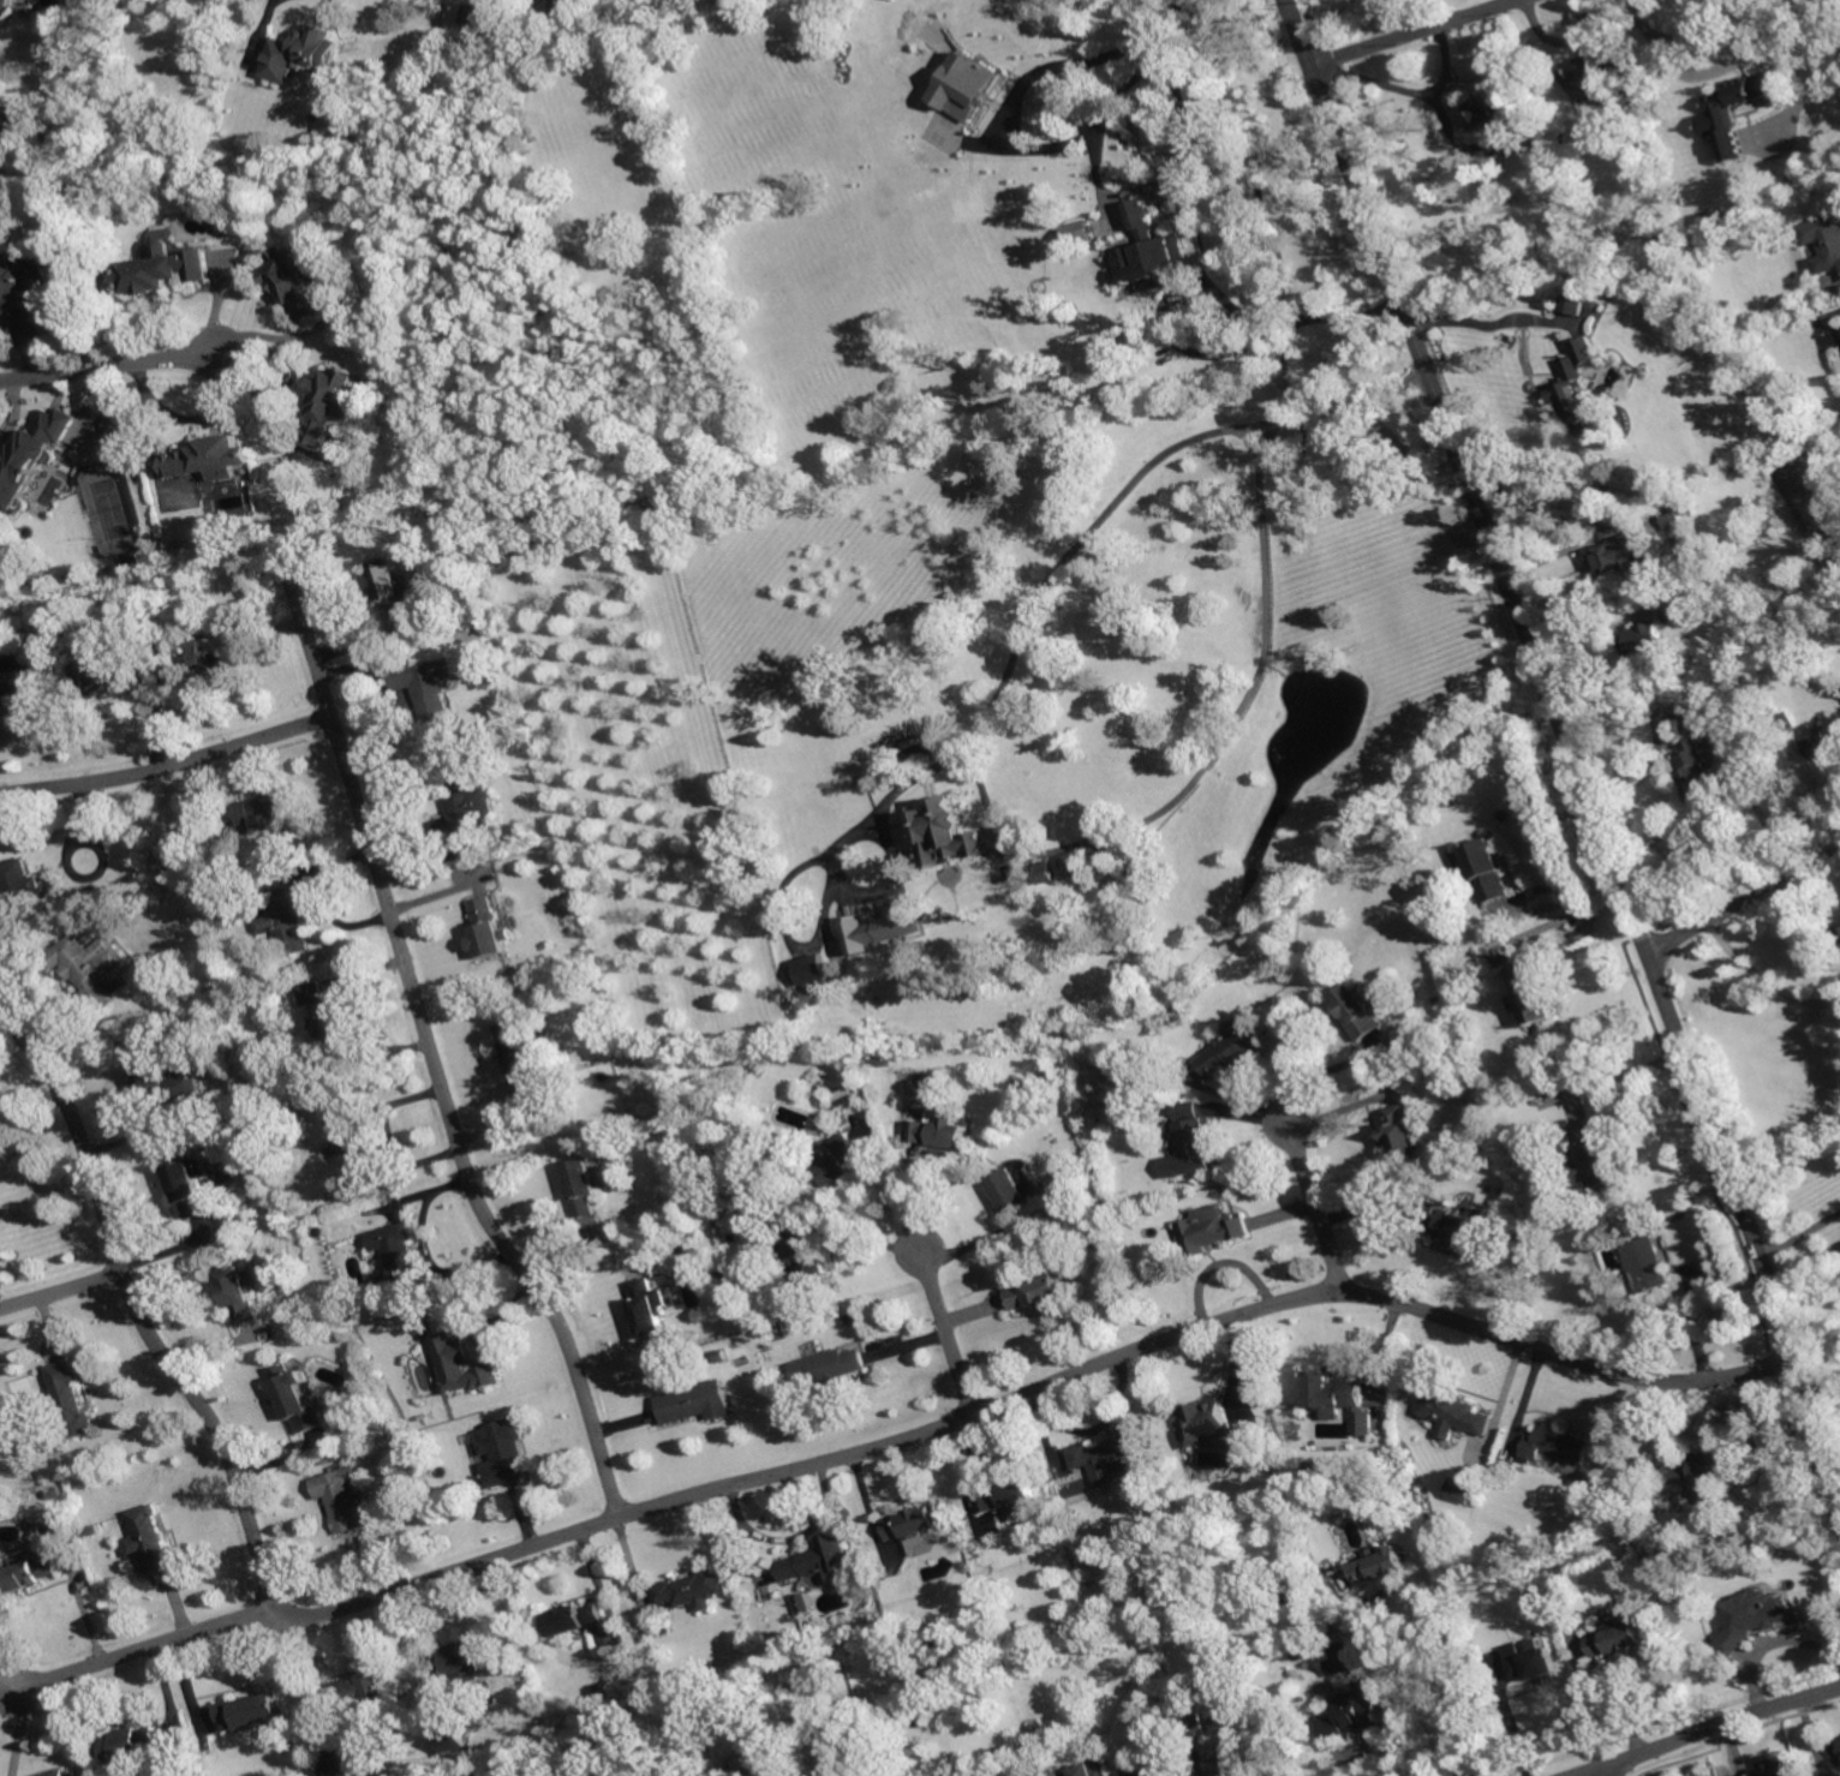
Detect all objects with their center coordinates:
building: (6, 2)
building: (572, 8)
building: (485, 18)
road: (1415, 31)
building: (306, 53)
road: (1669, 56)
building: (1585, 76)
building: (967, 85)
road: (1181, 86)
road: (1422, 90)
building: (1749, 90)
road: (1803, 97)
building: (1497, 110)
building: (1626, 110)
building: (5, 126)
road: (1010, 130)
building: (1731, 144)
building: (0, 159)
building: (193, 207)
building: (1717, 217)
building: (1081, 232)
building: (1824, 238)
building: (1161, 249)
building: (165, 269)
building: (298, 281)
road: (1211, 292)
building: (19, 293)
building: (1572, 303)
building: (1656, 312)
road: (1493, 322)
road: (112, 365)
building: (1578, 388)
building: (333, 403)
building: (32, 455)
building: (213, 458)
building: (1672, 518)
road: (1079, 544)
building: (1619, 554)
building: (1830, 558)
building: (389, 587)
building: (1693, 596)
building: (1642, 638)
road: (1267, 644)
building: (213, 651)
building: (16, 678)
building: (108, 678)
building: (428, 686)
building: (1786, 720)
road: (1567, 734)
building: (1823, 743)
building: (1691, 763)
road: (168, 764)
building: (462, 805)
building: (264, 818)
building: (949, 827)
building: (1075, 863)
building: (1106, 863)
building: (1488, 871)
building: (1050, 872)
building: (23, 889)
road: (1744, 899)
building: (287, 917)
road: (1565, 917)
building: (1839, 926)
building: (489, 928)
building: (873, 932)
building: (1839, 935)
building: (89, 965)
building: (812, 975)
road: (1766, 976)
building: (1531, 993)
building: (1361, 1010)
building: (329, 1027)
building: (1238, 1046)
building: (521, 1056)
road: (434, 1057)
road: (1325, 1072)
road: (1630, 1072)
building: (165, 1075)
building: (846, 1098)
building: (942, 1129)
building: (1402, 1132)
building: (1191, 1143)
building: (372, 1152)
building: (1594, 1154)
building: (841, 1160)
building: (189, 1185)
building: (583, 1186)
building: (1008, 1191)
road: (1319, 1207)
building: (1462, 1228)
building: (1212, 1231)
road: (1800, 1231)
building: (1105, 1237)
building: (396, 1256)
building: (1647, 1262)
building: (813, 1263)
building: (685, 1273)
road: (62, 1290)
building: (1038, 1292)
building: (239, 1293)
building: (650, 1308)
road: (139, 1311)
road: (950, 1332)
building: (782, 1333)
building: (723, 1357)
building: (461, 1365)
building: (830, 1368)
road: (1038, 1391)
building: (1334, 1393)
building: (71, 1399)
building: (297, 1399)
building: (698, 1403)
building: (1452, 1413)
building: (1206, 1421)
building: (1363, 1423)
building: (1557, 1443)
building: (504, 1452)
building: (1112, 1457)
building: (1696, 1476)
building: (1459, 1488)
building: (339, 1496)
building: (1008, 1496)
building: (46, 1521)
building: (915, 1523)
building: (151, 1538)
building: (820, 1560)
building: (1381, 1565)
building: (26, 1573)
building: (697, 1589)
road: (1388, 1590)
building: (1284, 1595)
building: (806, 1603)
building: (577, 1619)
building: (1749, 1619)
building: (1618, 1638)
road: (144, 1648)
building: (467, 1660)
building: (1340, 1661)
building: (1530, 1662)
building: (356, 1690)
road: (1438, 1698)
building: (247, 1711)
building: (1354, 1711)
building: (667, 1718)
building: (1194, 1726)
road: (1703, 1732)
building: (1038, 1733)
building: (452, 1739)
building: (129, 1744)
road: (1373, 1748)
building: (1836, 1751)
building: (1223, 1762)
building: (342, 1766)
building: (1089, 1769)
building: (1770, 1769)
building: (456, 1770)
building: (1160, 1770)
road: (1602, 1770)
building: (59, 1774)
building: (73, 1775)

